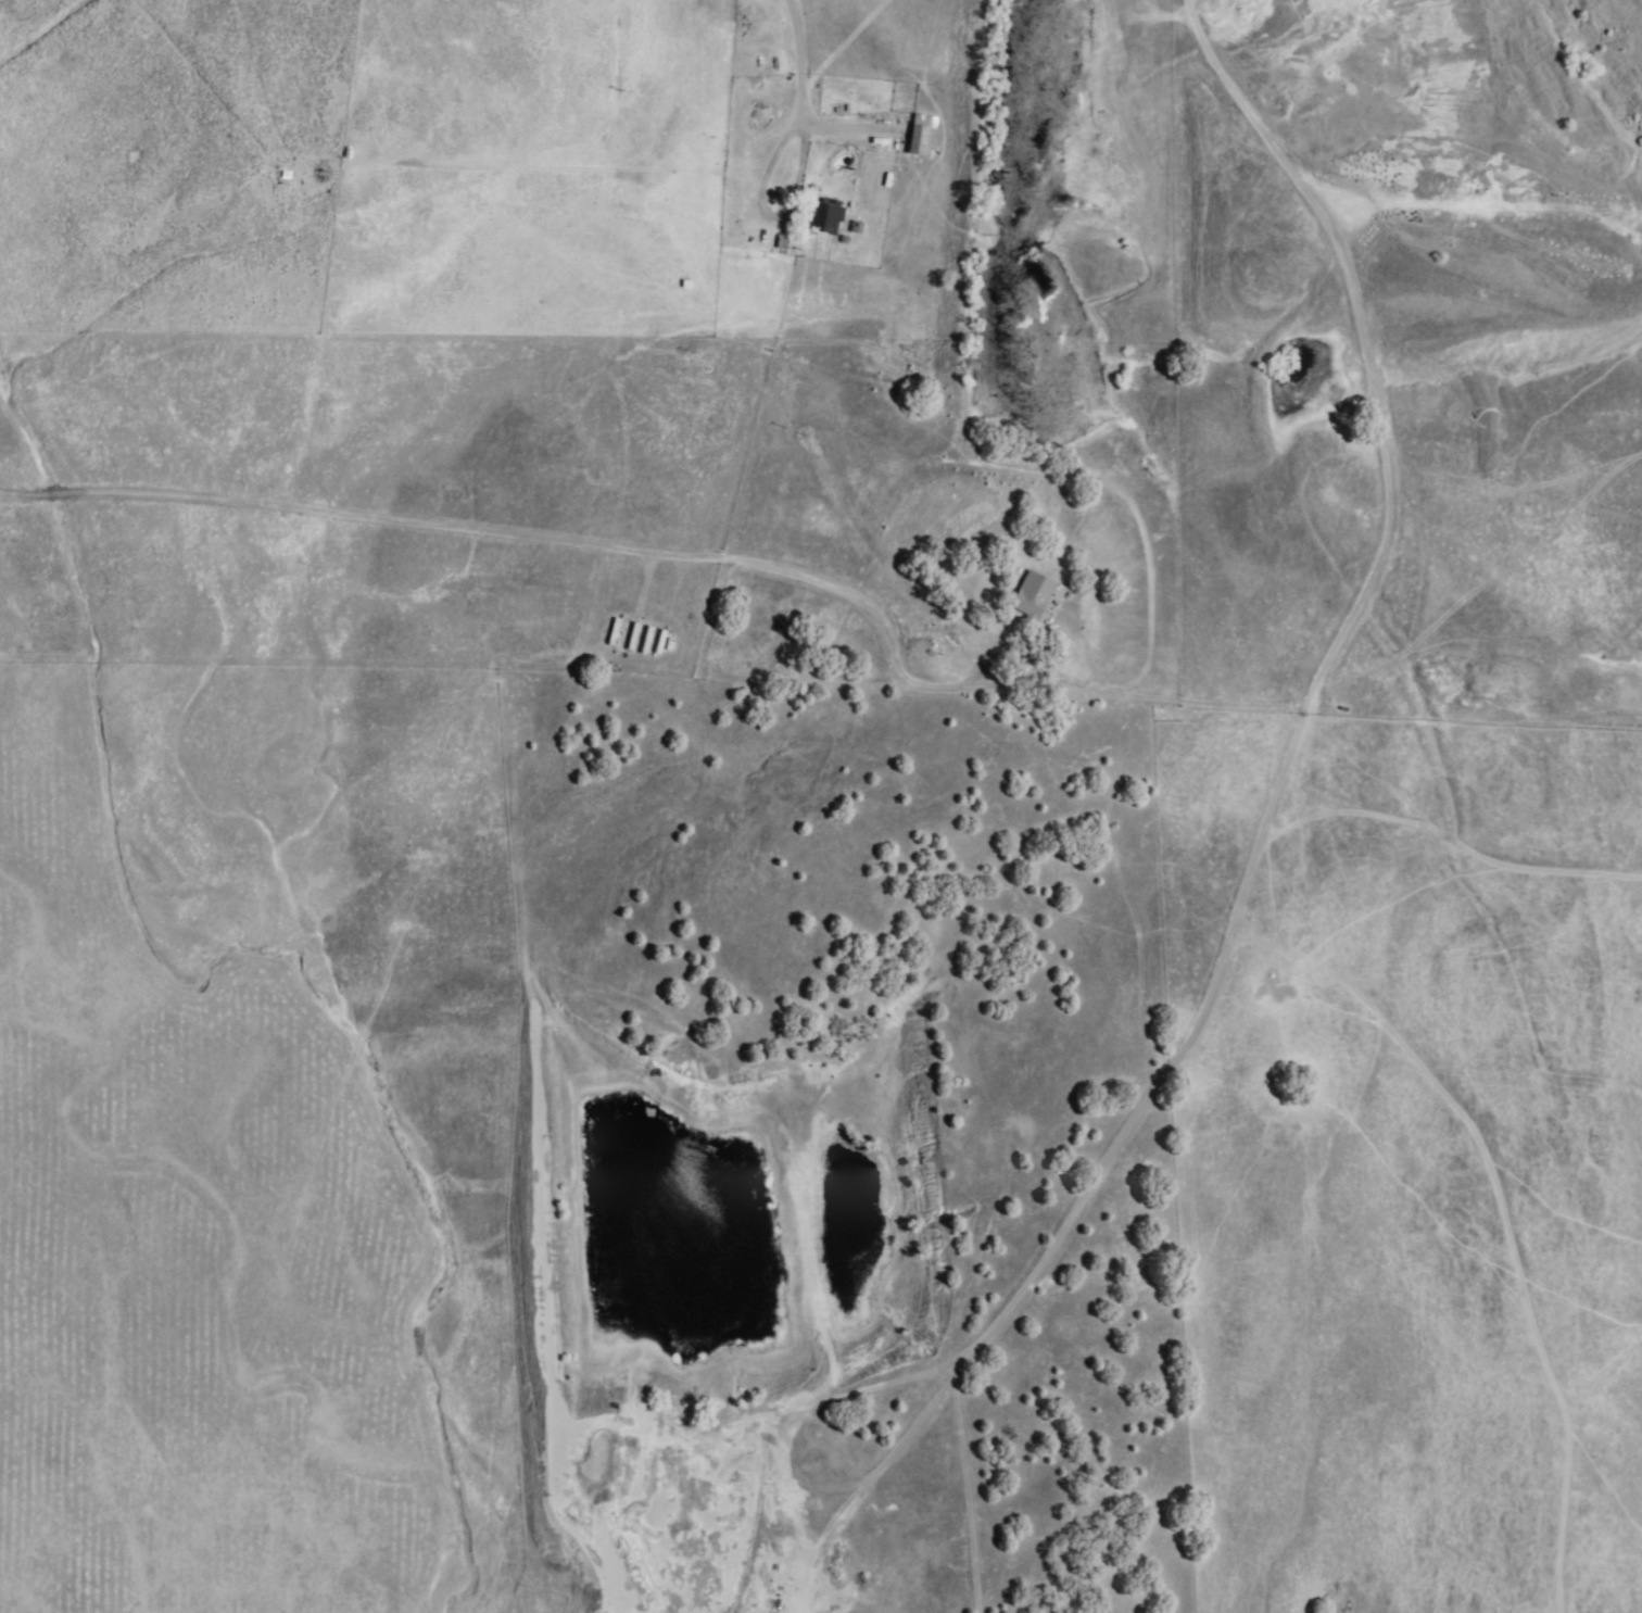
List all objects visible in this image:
road: (794, 59)
building: (923, 136)
road: (771, 217)
building: (823, 217)
road: (513, 534)
building: (1033, 596)
road: (1022, 652)

